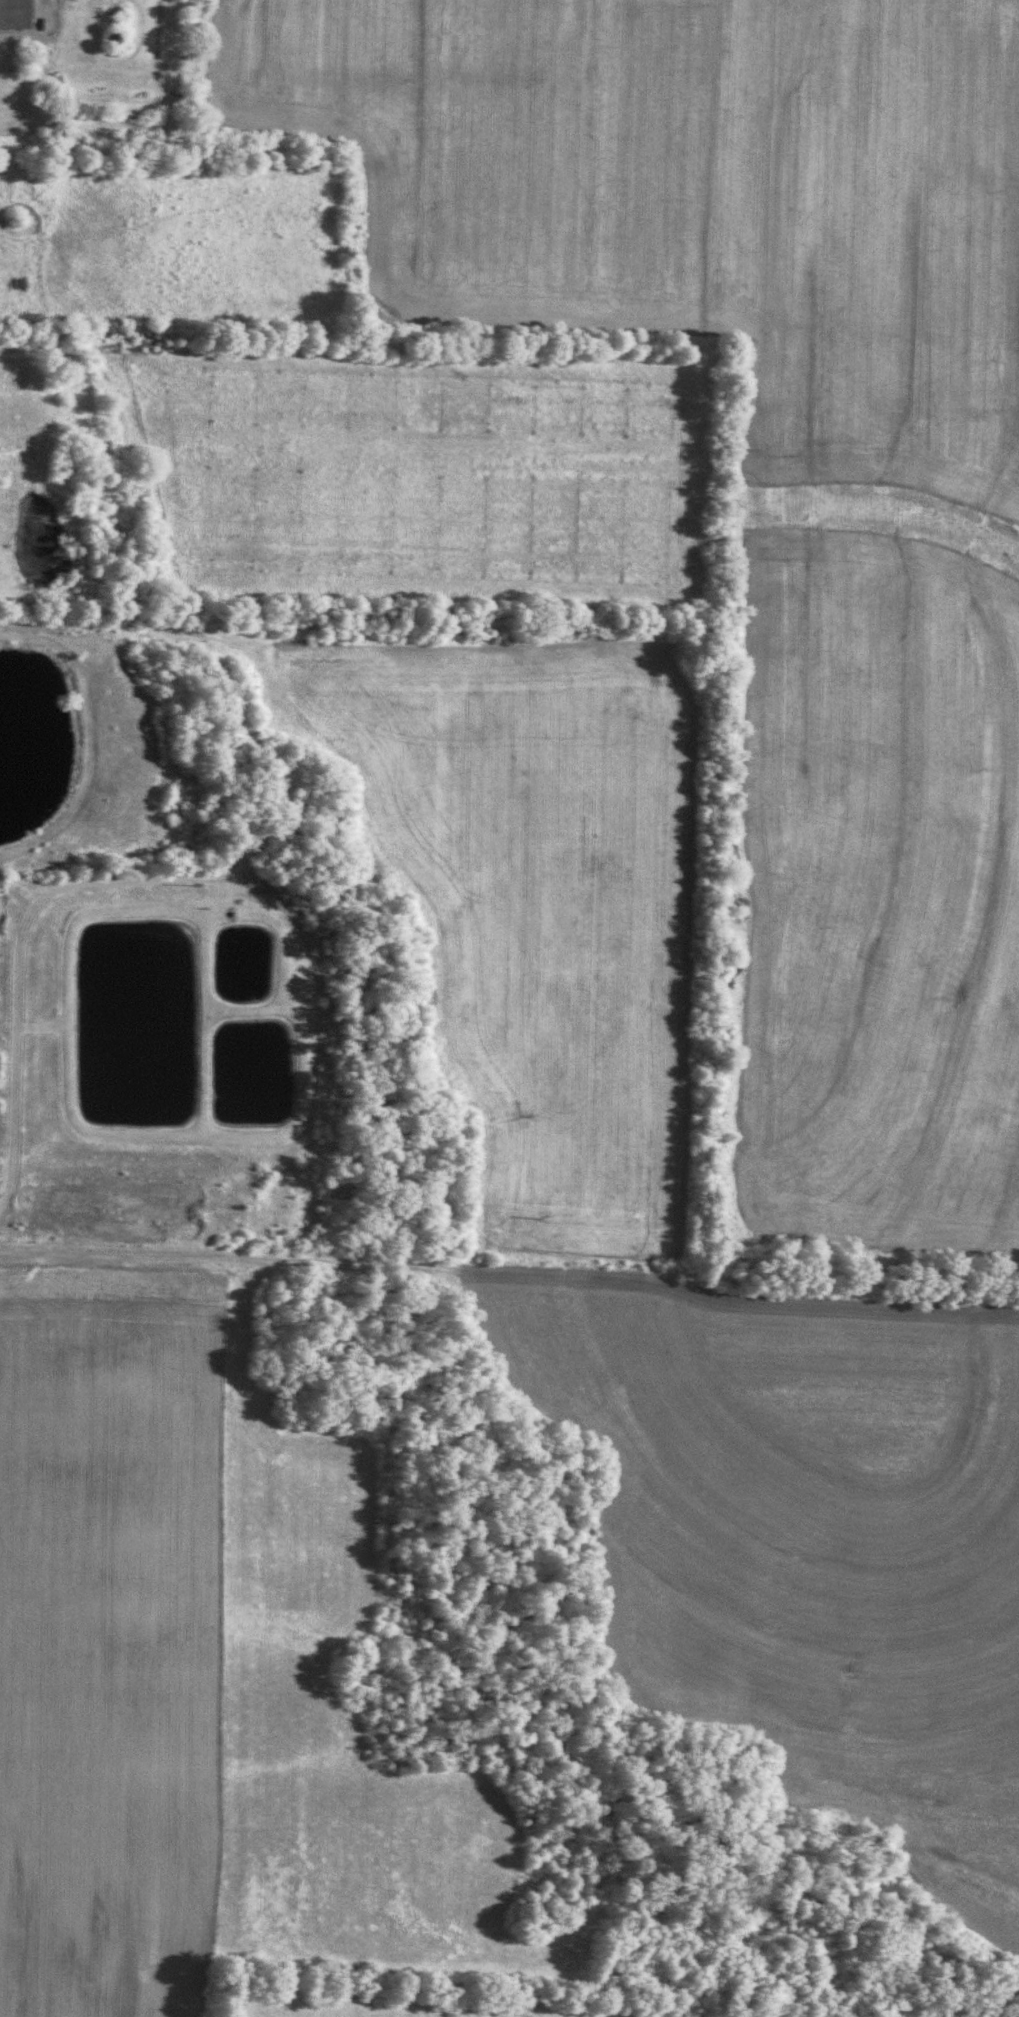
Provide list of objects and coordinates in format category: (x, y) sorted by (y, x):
building: (16, 15)
road: (24, 956)

